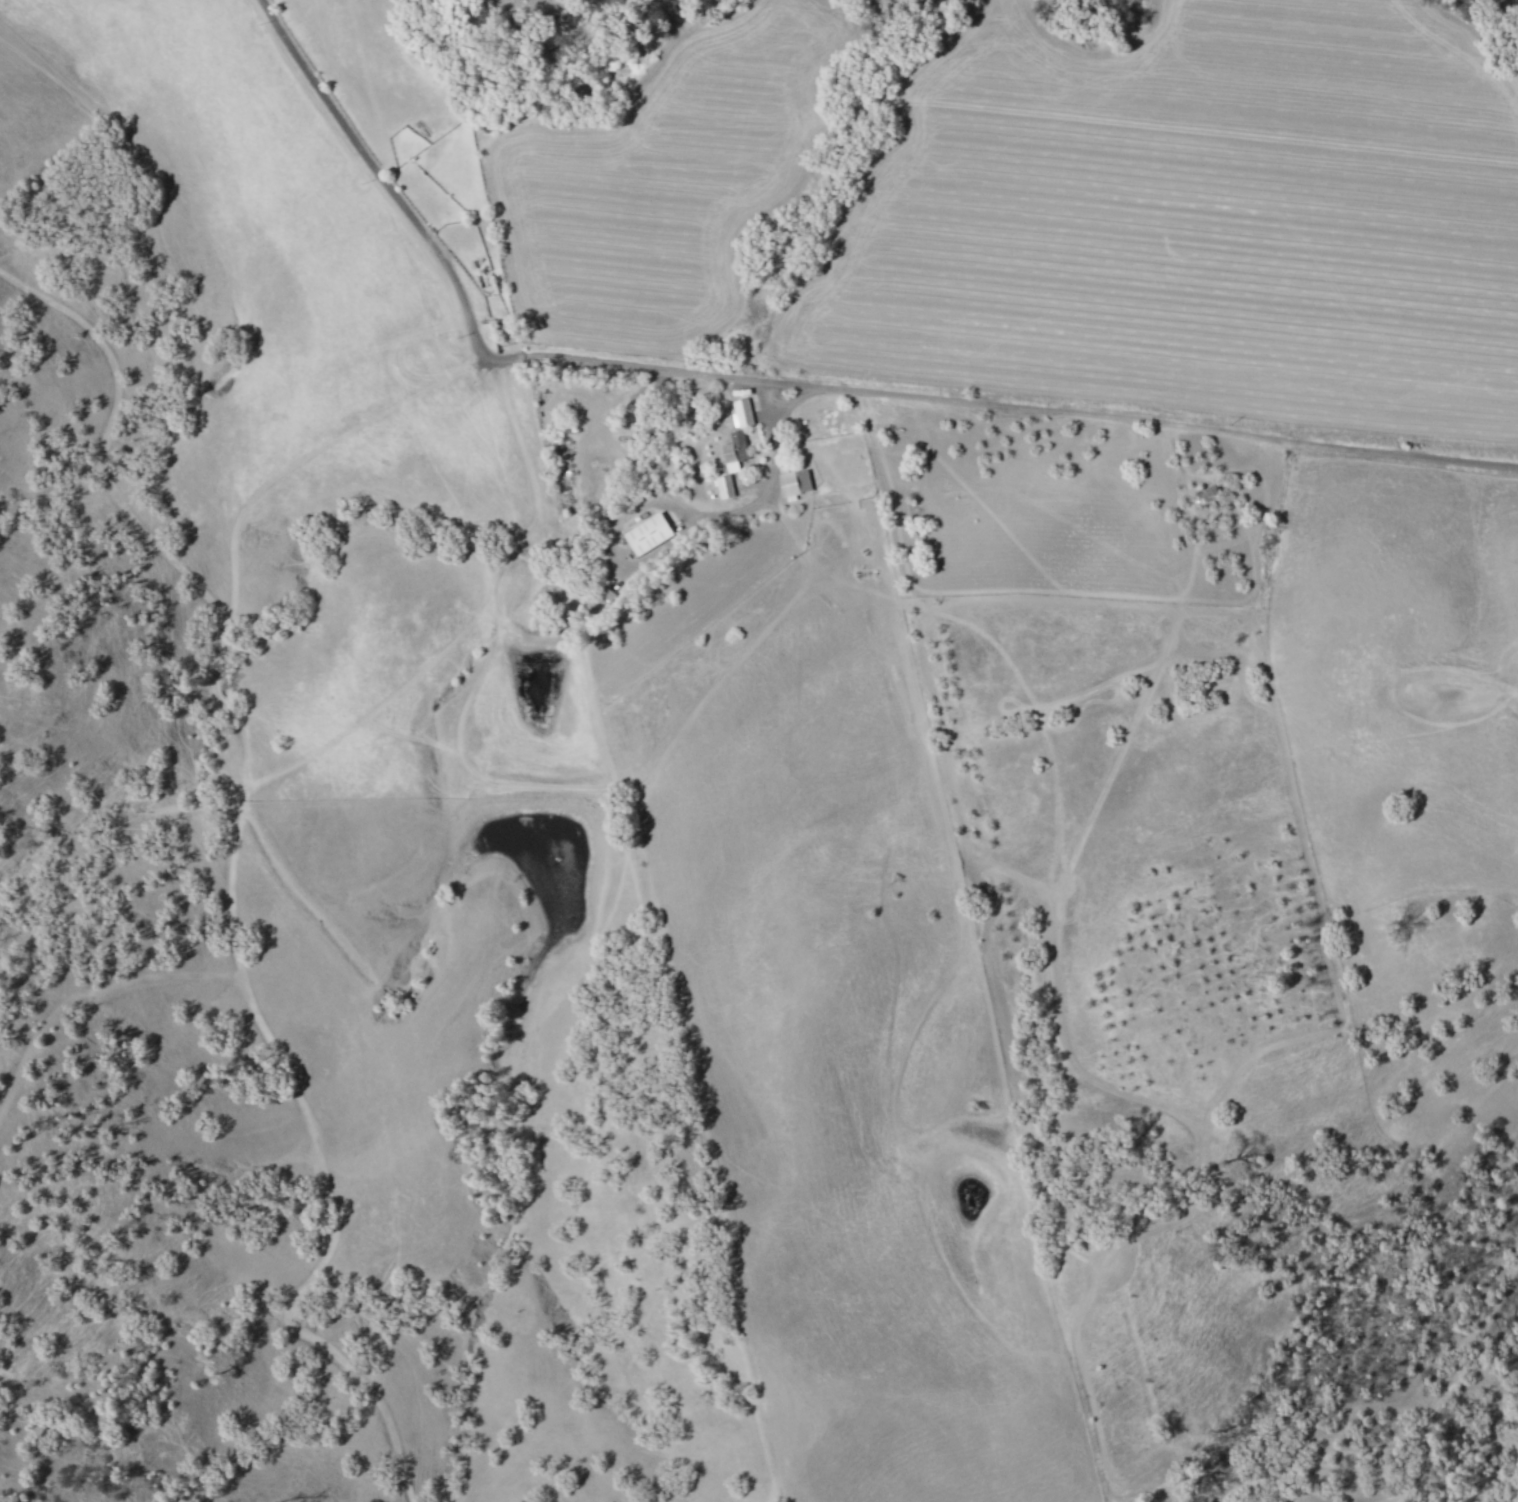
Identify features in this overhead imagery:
road: (405, 194)
road: (767, 399)
road: (1029, 410)
building: (742, 411)
building: (730, 455)
road: (772, 471)
building: (795, 482)
building: (725, 485)
building: (1213, 489)
building: (648, 533)

